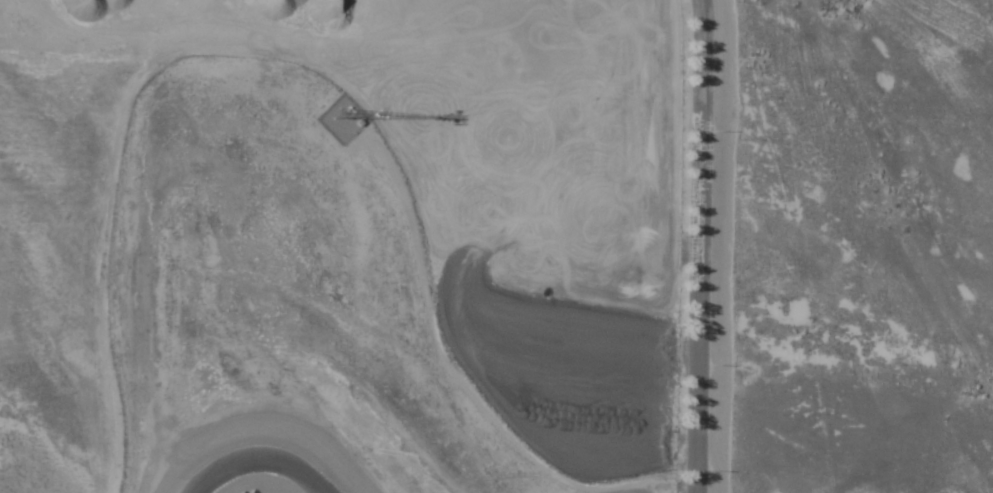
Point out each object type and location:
stadium: (346, 246)
crop: (382, 246)
road: (694, 246)
crop: (855, 247)
raceway: (267, 462)

